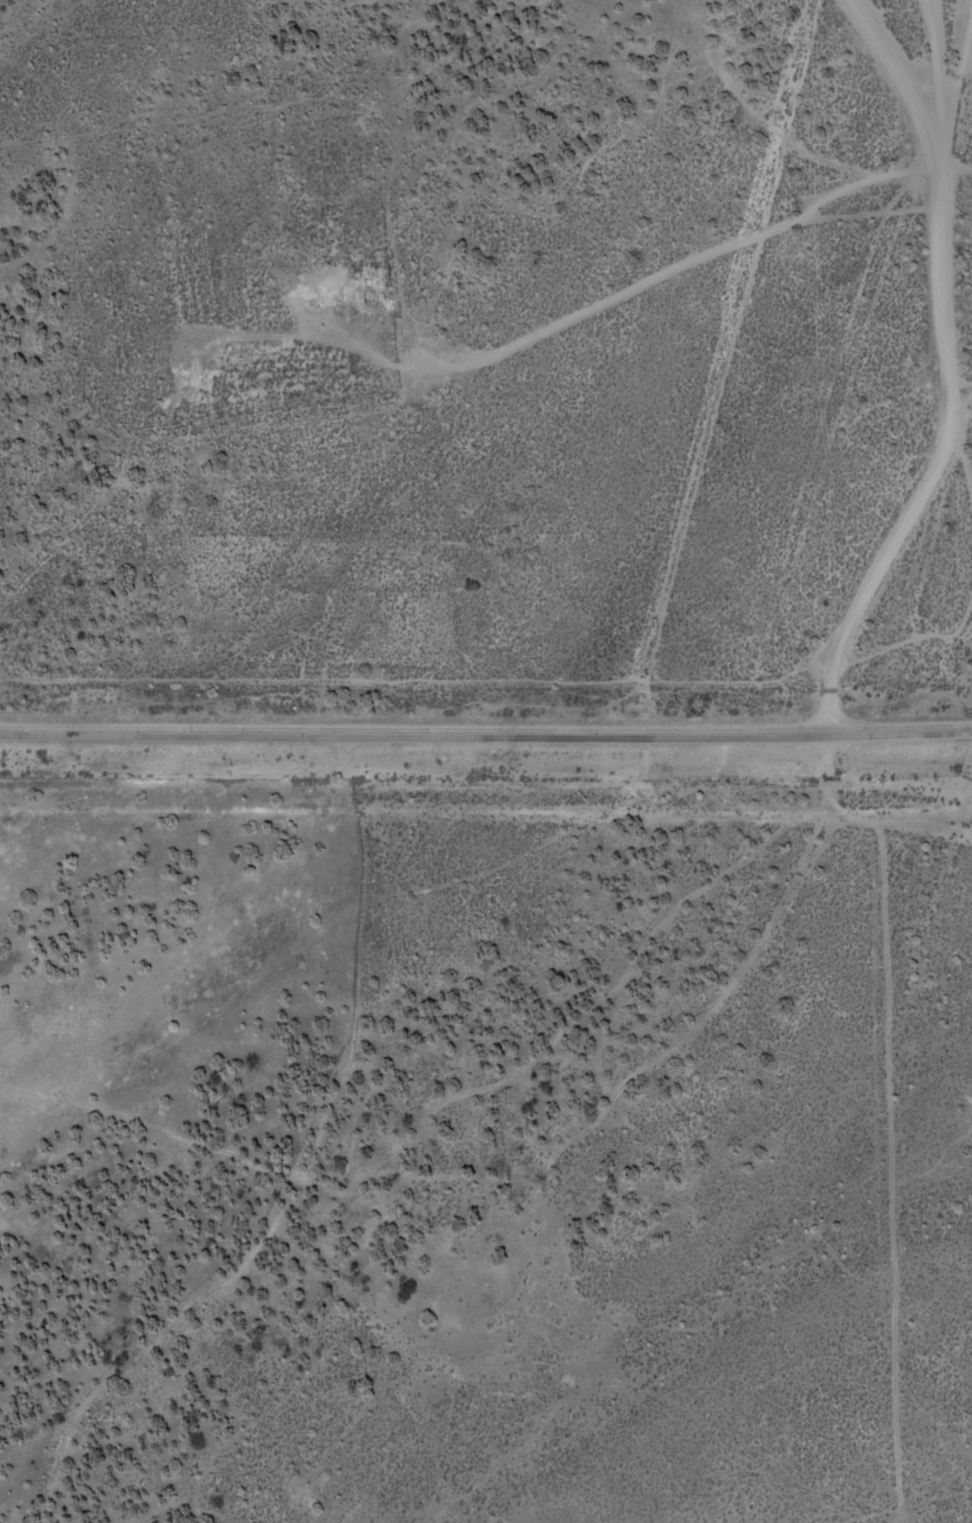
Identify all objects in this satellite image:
road: (956, 162)
park: (250, 266)
road: (585, 312)
road: (962, 411)
road: (912, 505)
road: (486, 731)
road: (899, 823)
road: (42, 1137)
road: (303, 1171)

